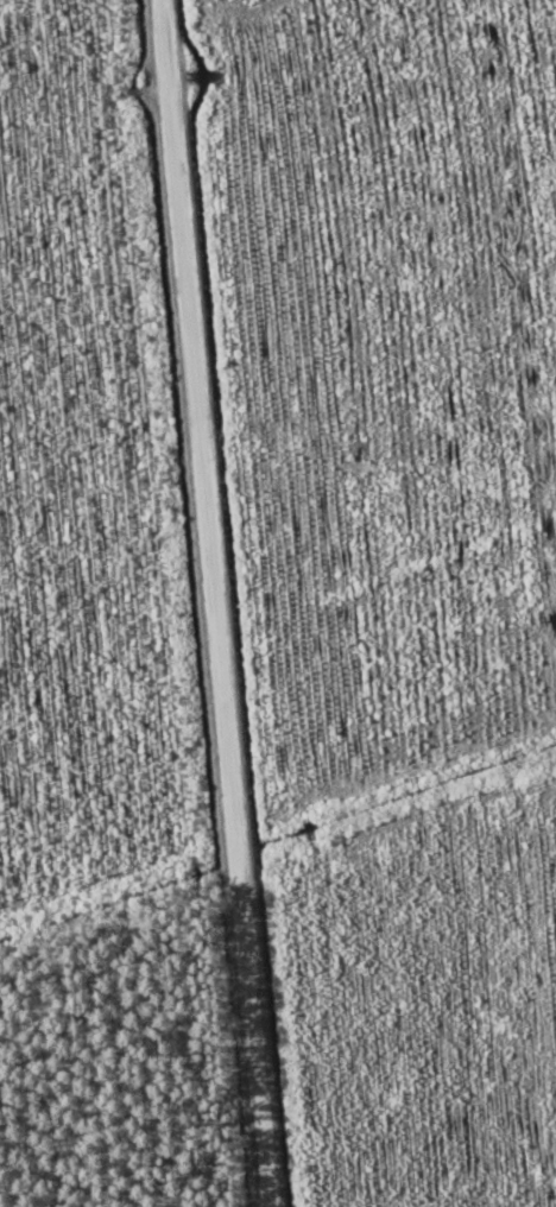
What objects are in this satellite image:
road: (196, 601)

